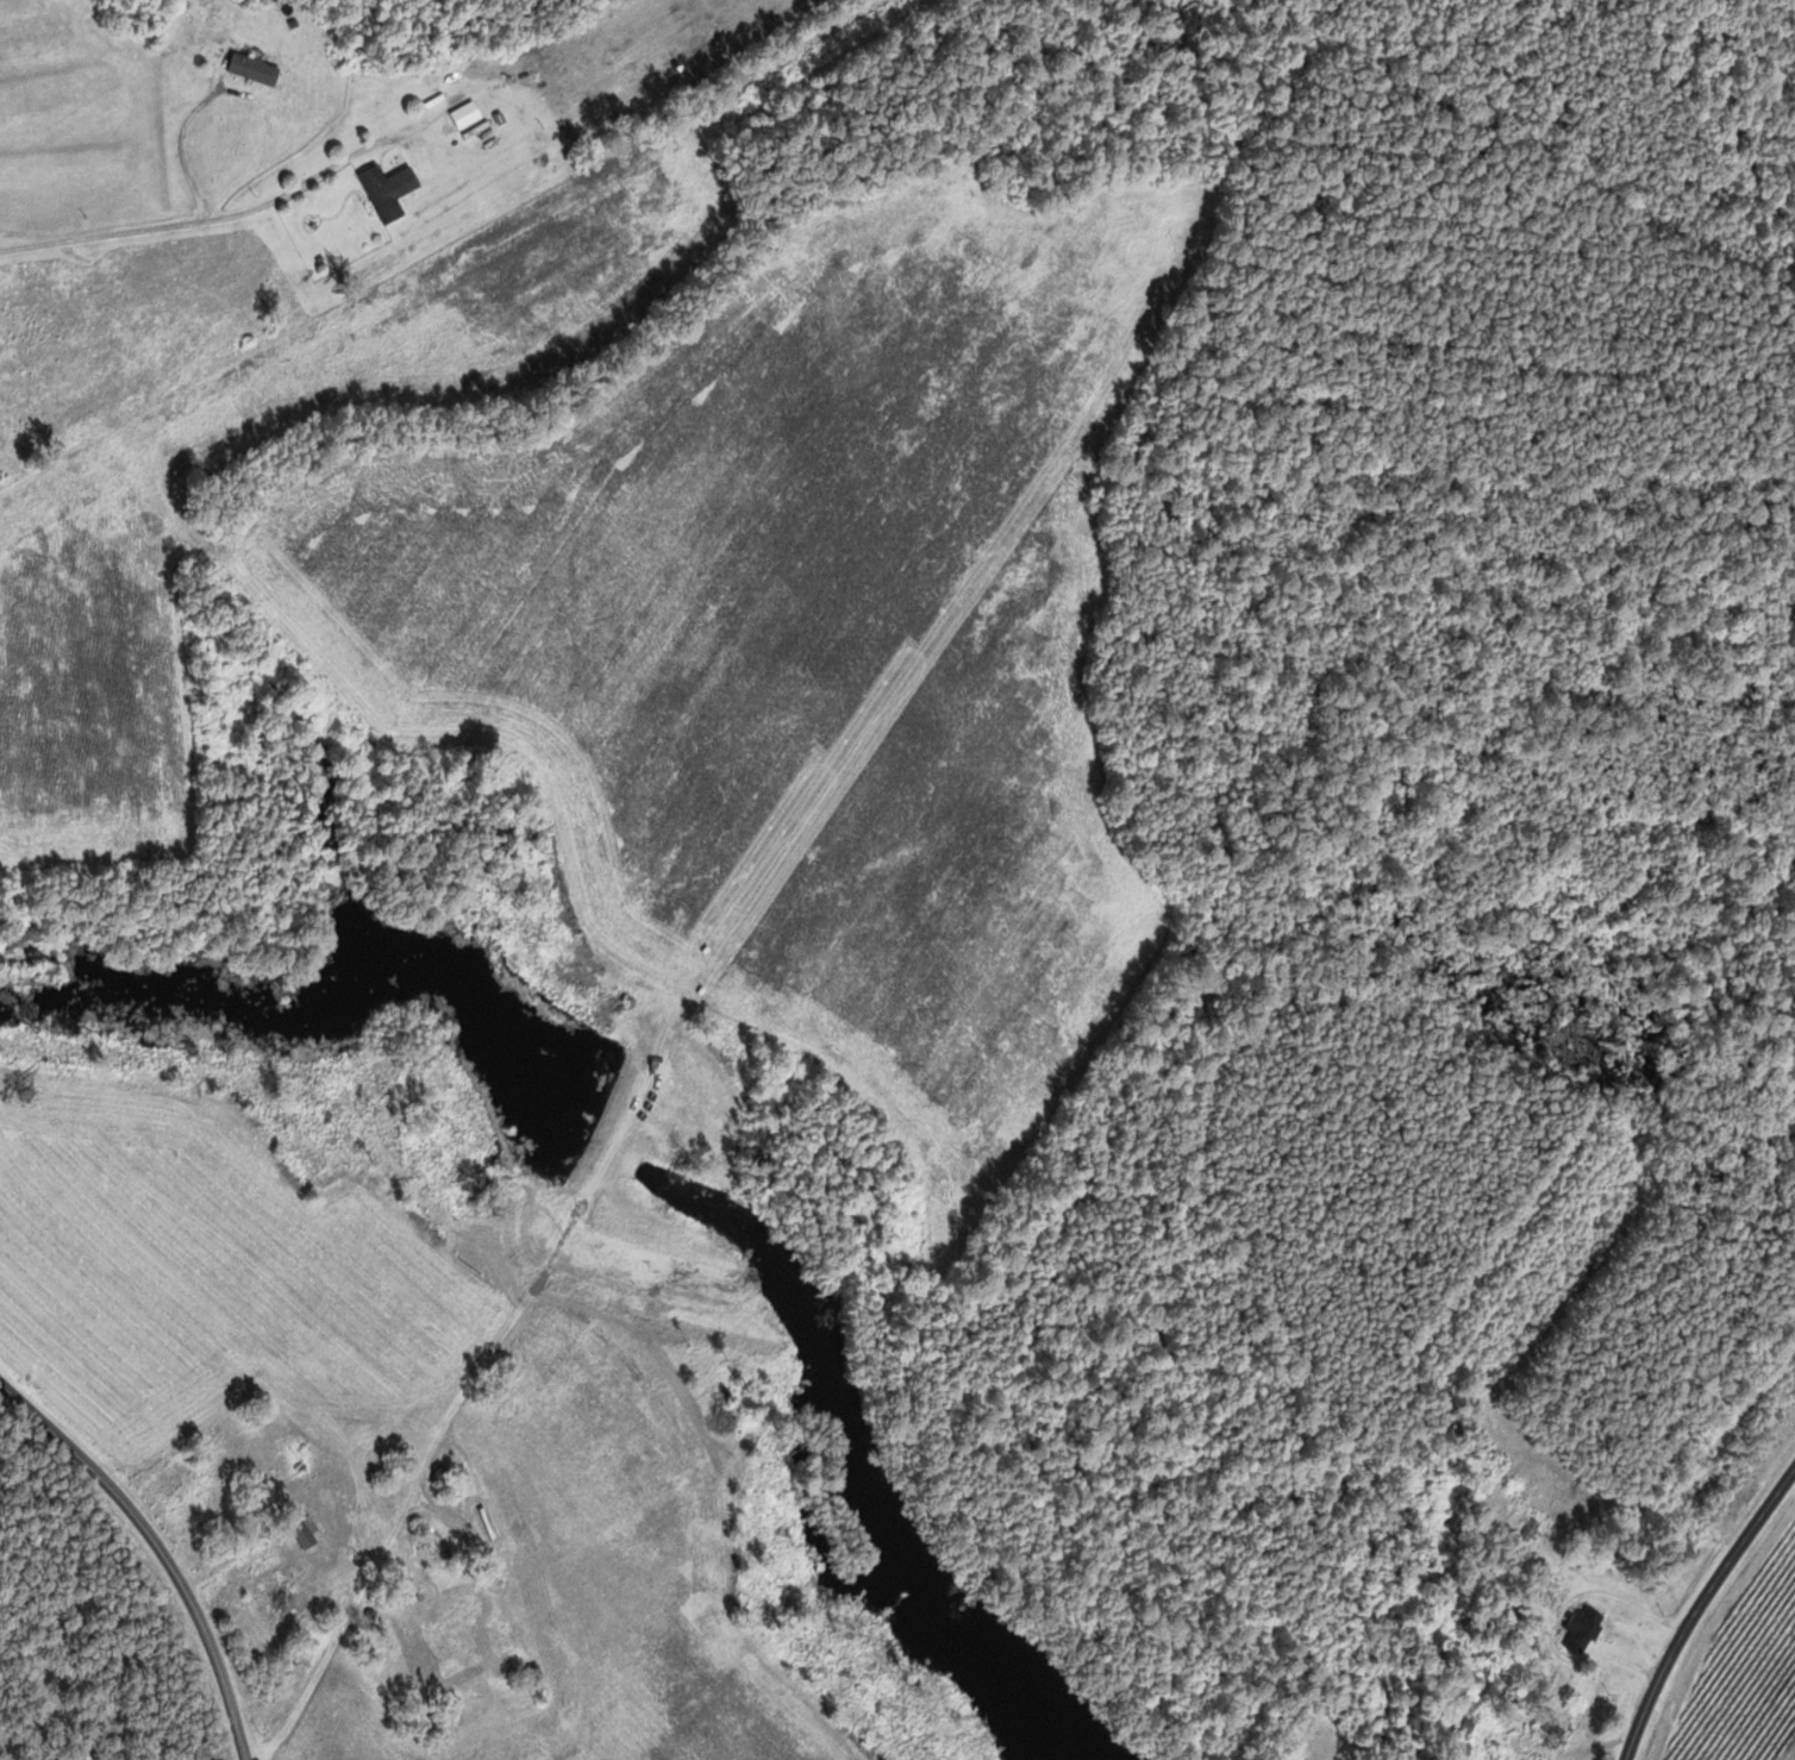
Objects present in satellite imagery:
building: (390, 190)
road: (188, 221)
building: (220, 1499)
building: (306, 1532)
building: (1527, 1536)
road: (163, 1545)
road: (1705, 1611)
building: (469, 1626)
building: (1583, 1630)
building: (1553, 1735)

